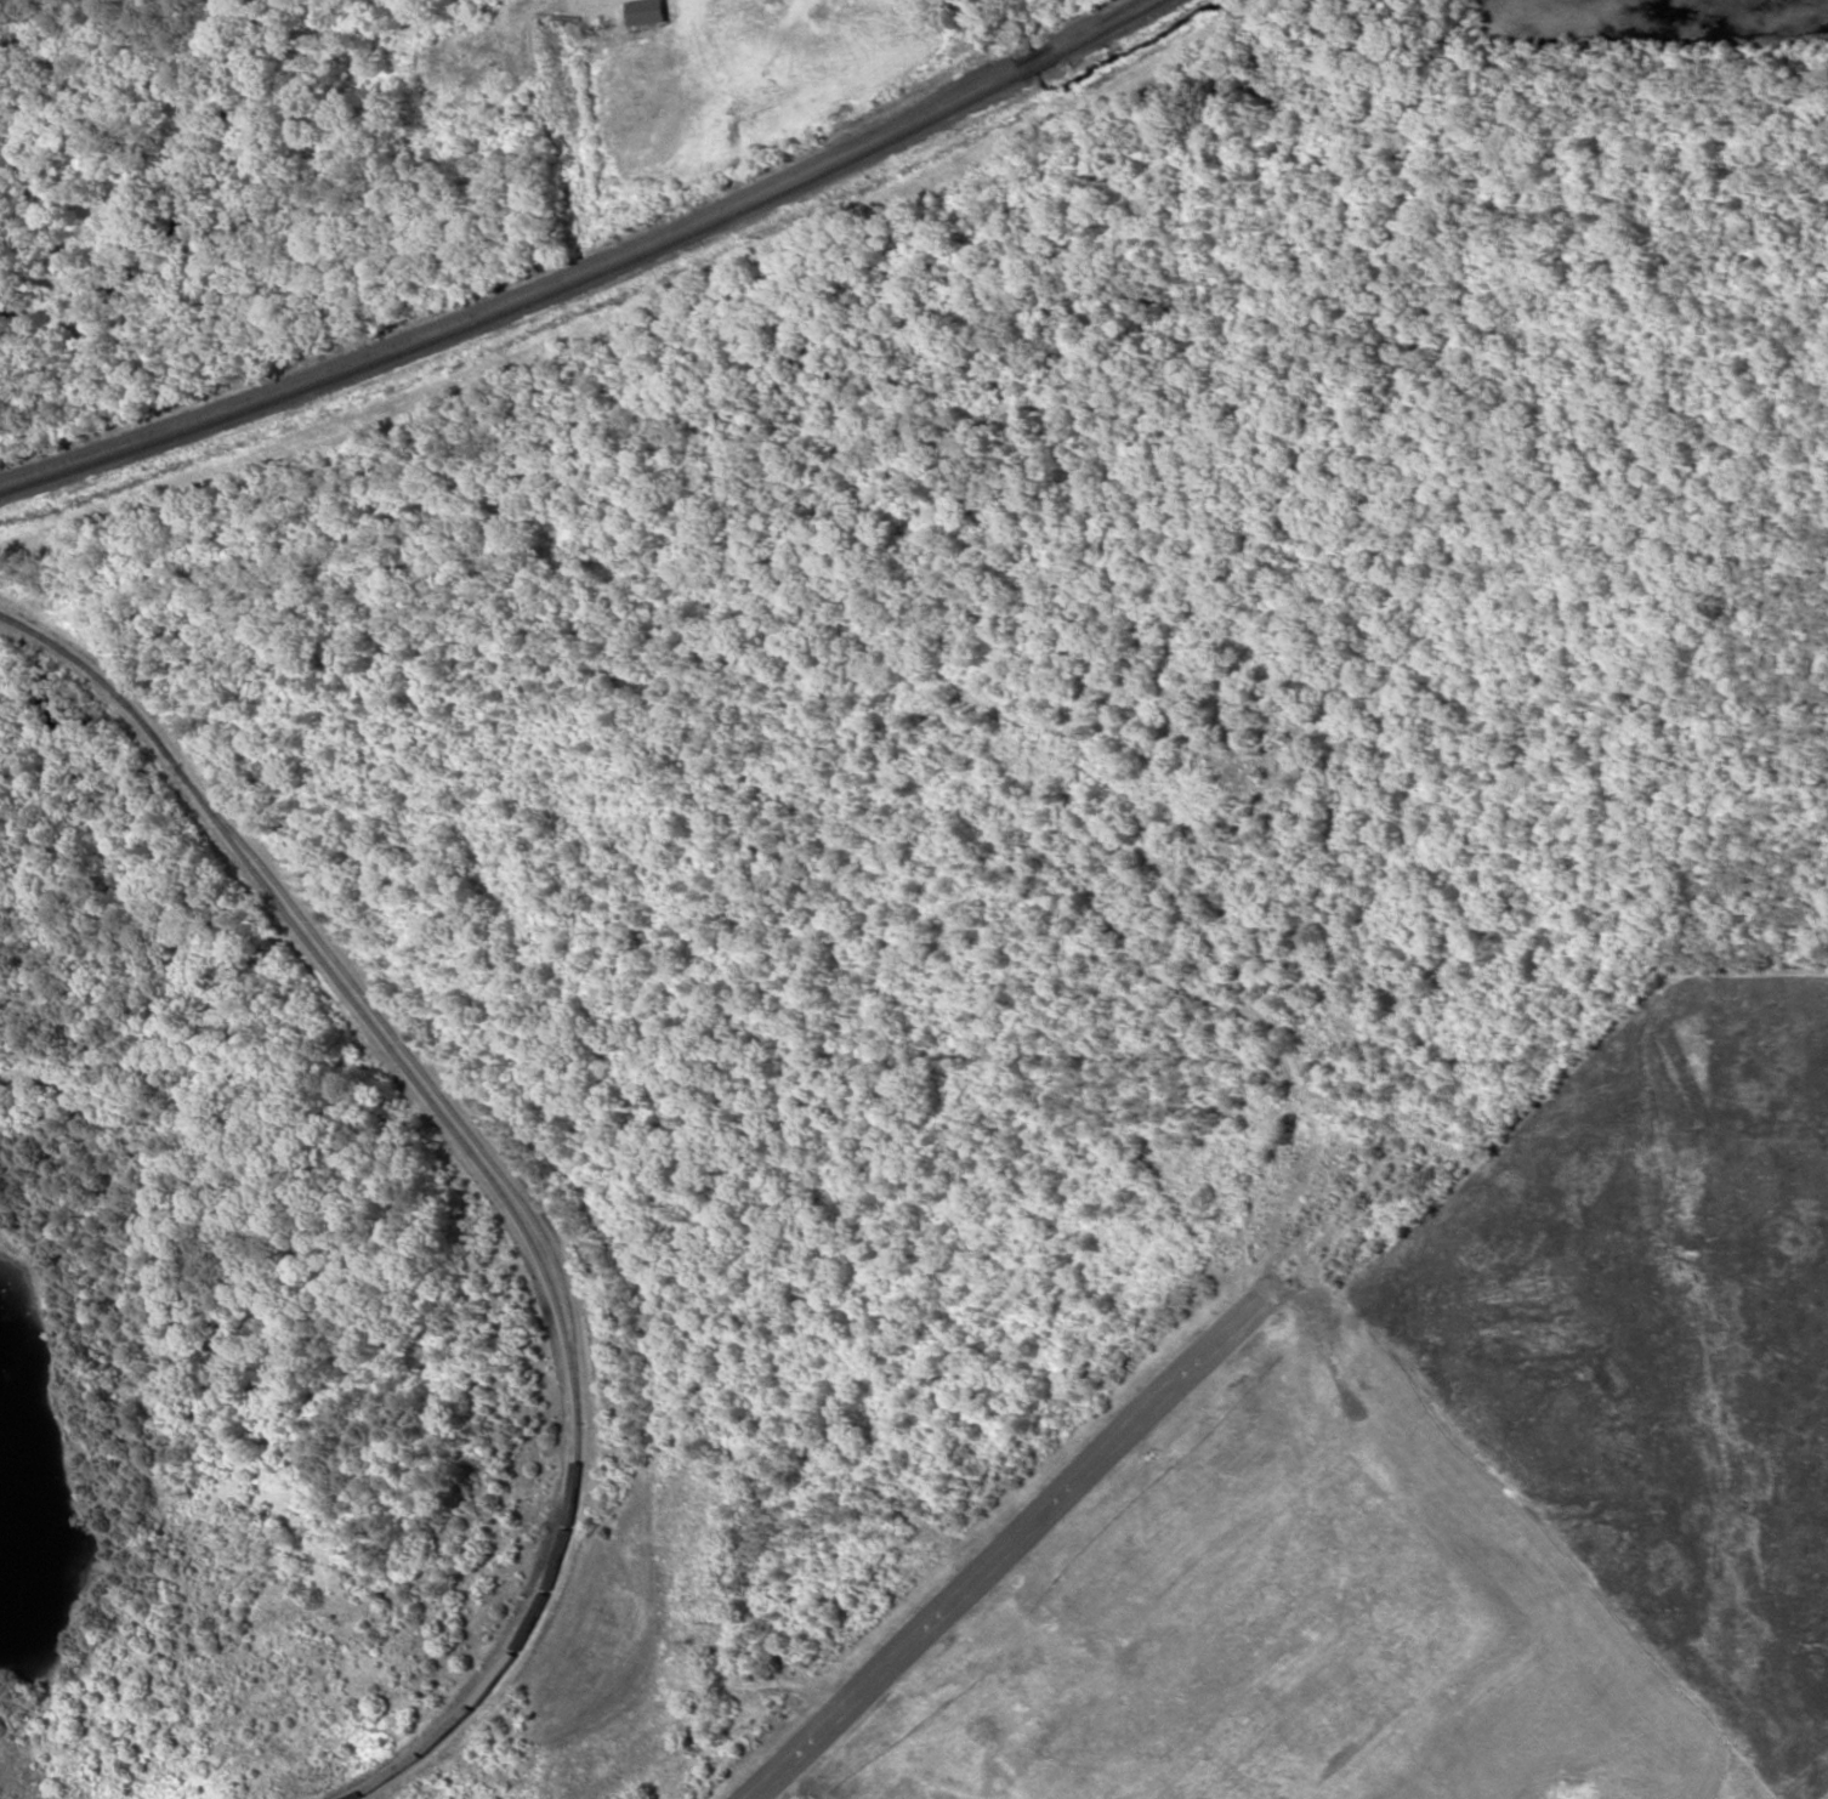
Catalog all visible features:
railway: (1135, 1)
building: (648, 11)
railway: (580, 268)
railway: (592, 274)
railway: (424, 1073)
railway: (478, 1165)
road: (1006, 1544)

